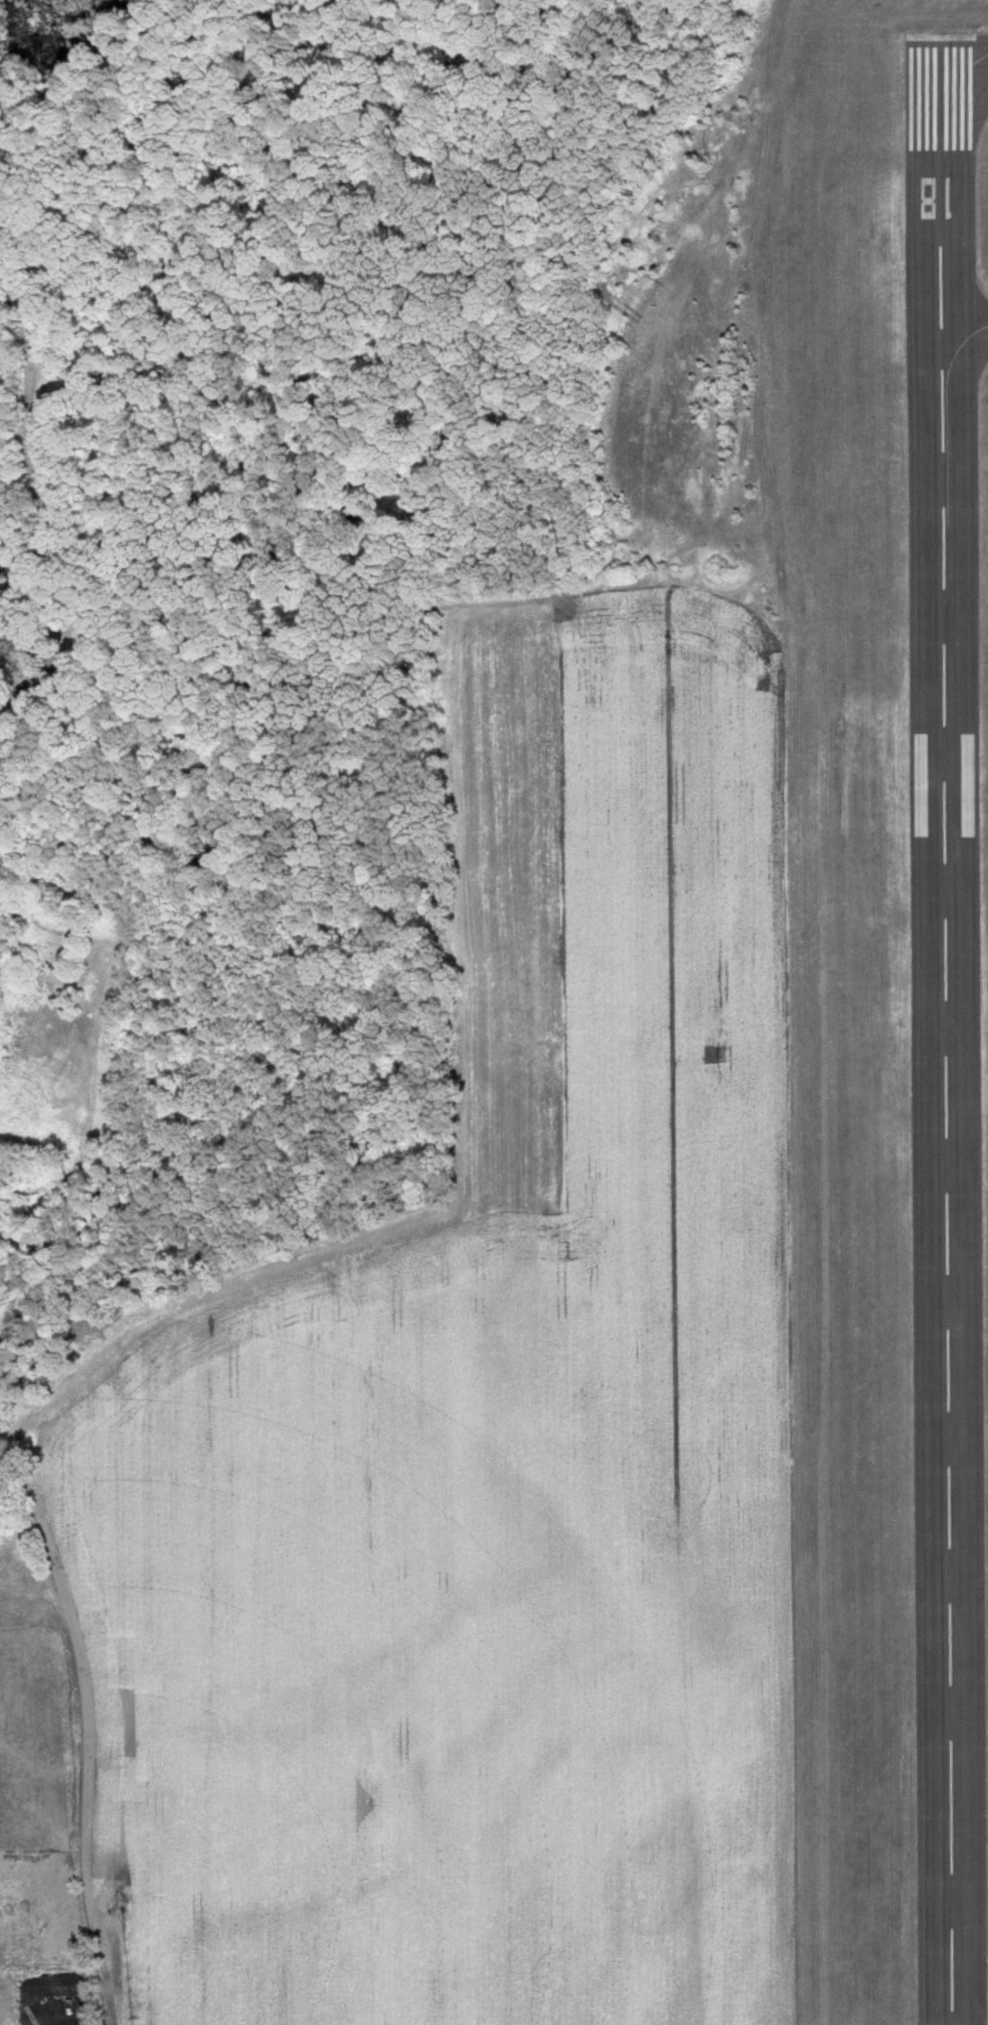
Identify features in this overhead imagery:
airport taxiway: (964, 73)
airport taxiway: (947, 419)
road: (32, 502)
road: (4, 681)
airport runway: (948, 1032)
crop: (488, 1436)
road: (87, 1728)

